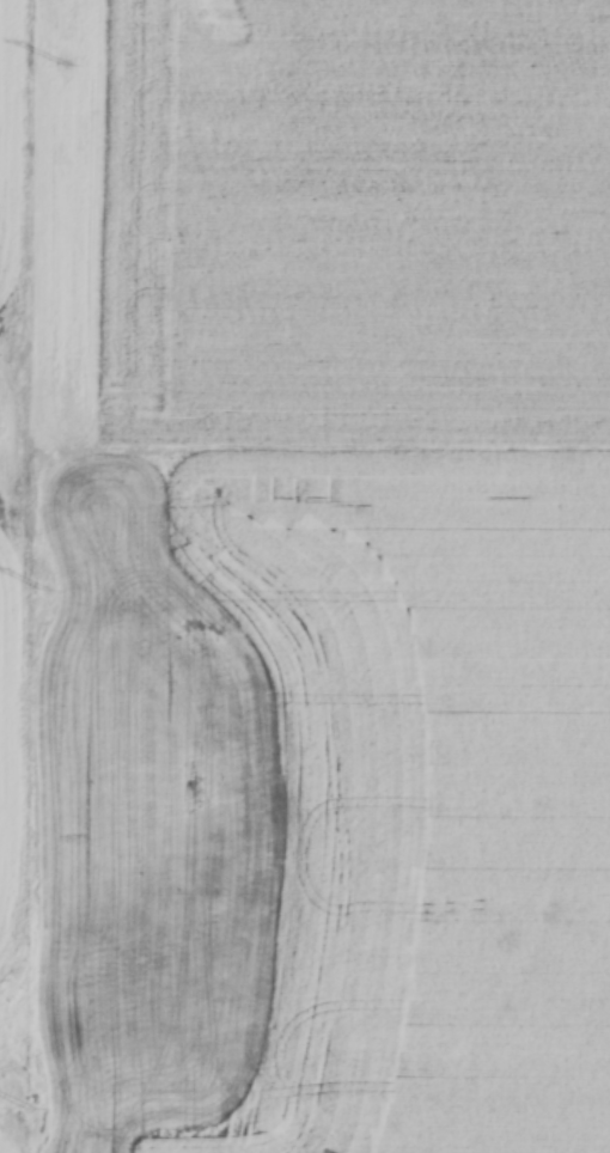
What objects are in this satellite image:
power tower: (62, 65)
power tower: (44, 592)
power tower: (28, 1109)

